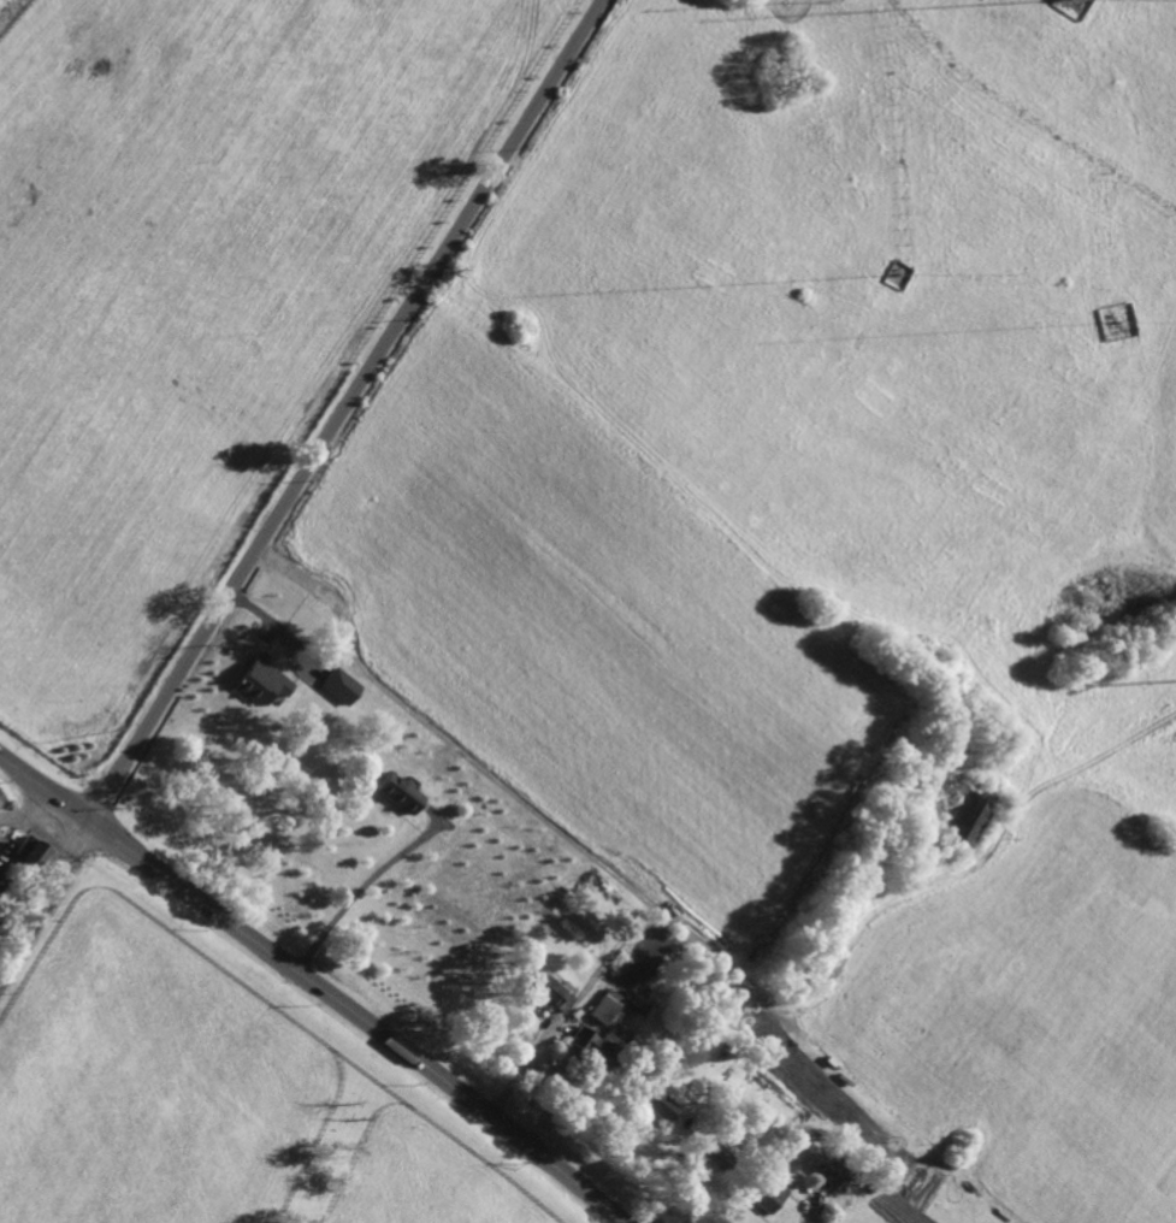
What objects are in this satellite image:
building: (1056, 0)
road: (343, 410)
building: (258, 680)
building: (341, 684)
building: (432, 757)
building: (401, 791)
building: (963, 814)
building: (26, 855)
building: (7, 887)
road: (357, 890)
road: (45, 898)
road: (315, 985)
building: (554, 993)
building: (633, 997)
building: (607, 1006)
building: (597, 1051)
building: (699, 1097)
building: (660, 1104)
building: (726, 1122)
building: (716, 1154)
building: (828, 1169)
building: (873, 1187)
building: (770, 1195)
building: (843, 1195)

